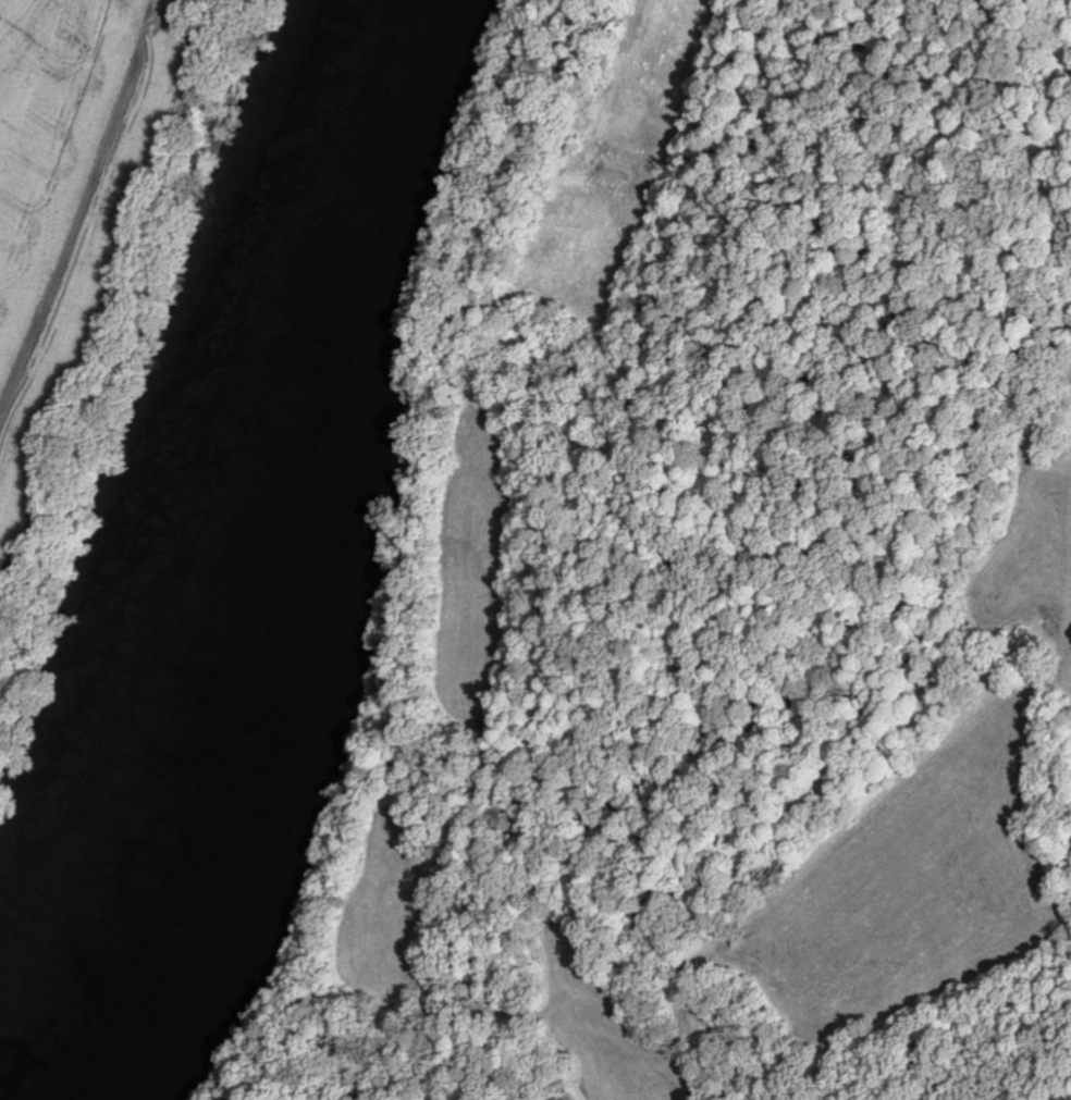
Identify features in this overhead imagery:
river: (201, 517)

